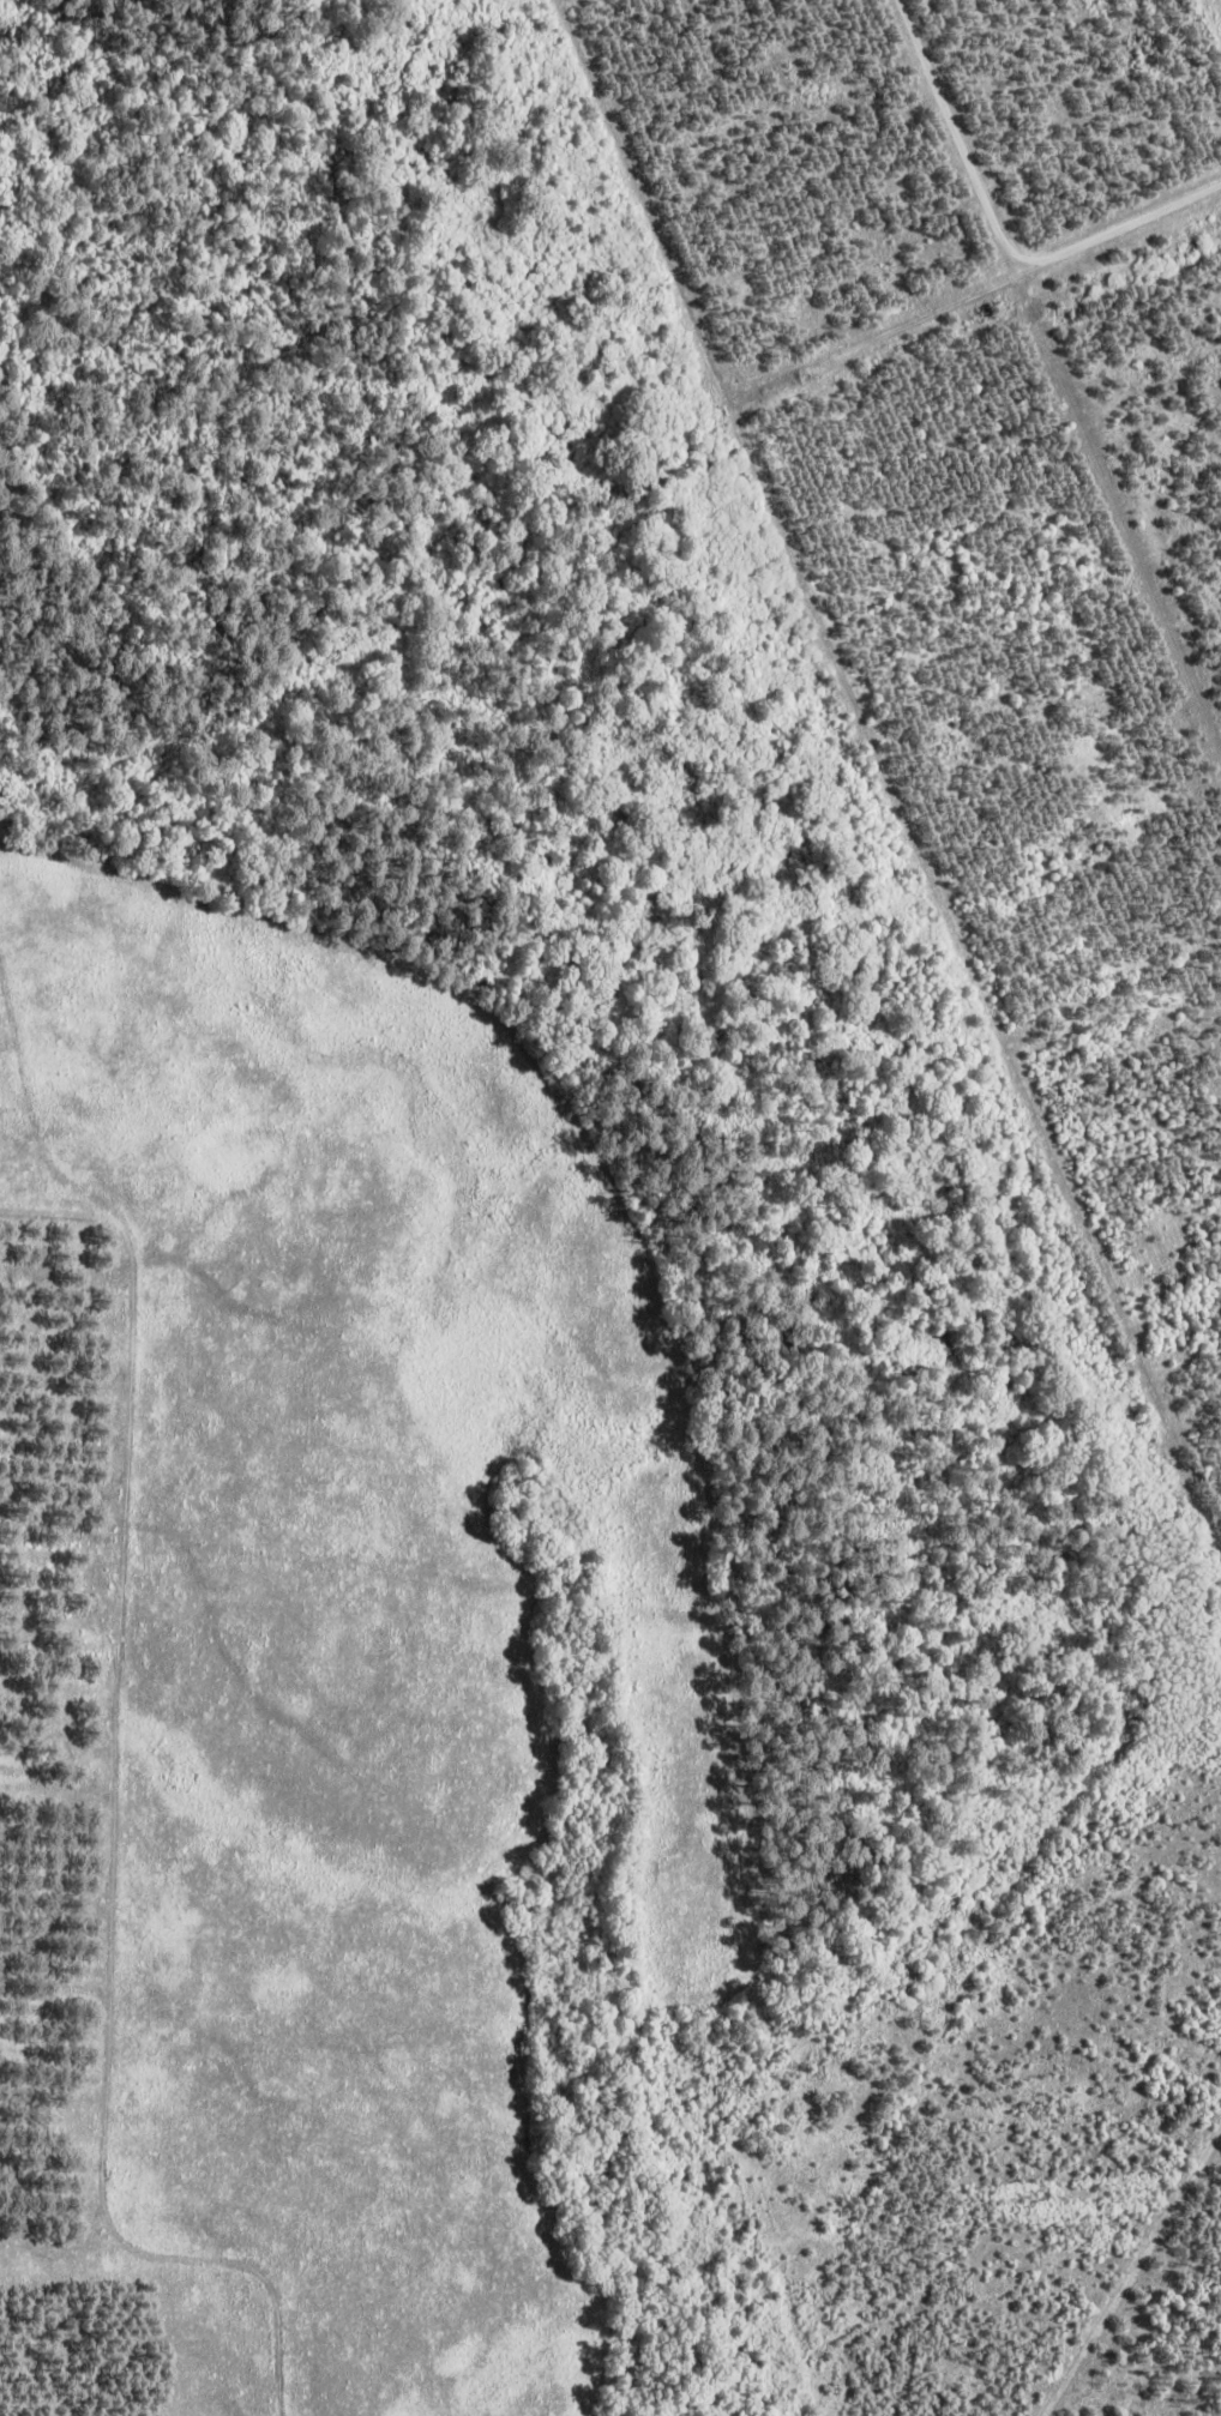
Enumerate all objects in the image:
road: (1003, 229)
road: (878, 327)
road: (1123, 500)
road: (890, 769)
road: (1112, 996)
road: (1132, 2272)

